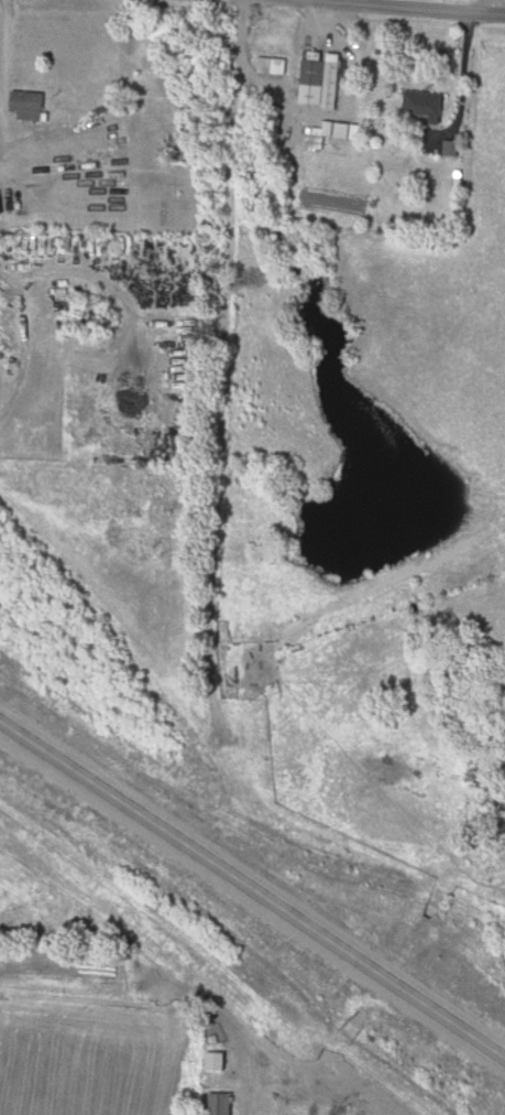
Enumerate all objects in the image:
road: (383, 9)
building: (282, 69)
building: (323, 83)
road: (461, 86)
road: (10, 89)
building: (144, 91)
building: (429, 105)
building: (30, 106)
building: (88, 151)
road: (221, 391)
building: (256, 632)
building: (270, 721)
road: (253, 891)
building: (224, 1105)

